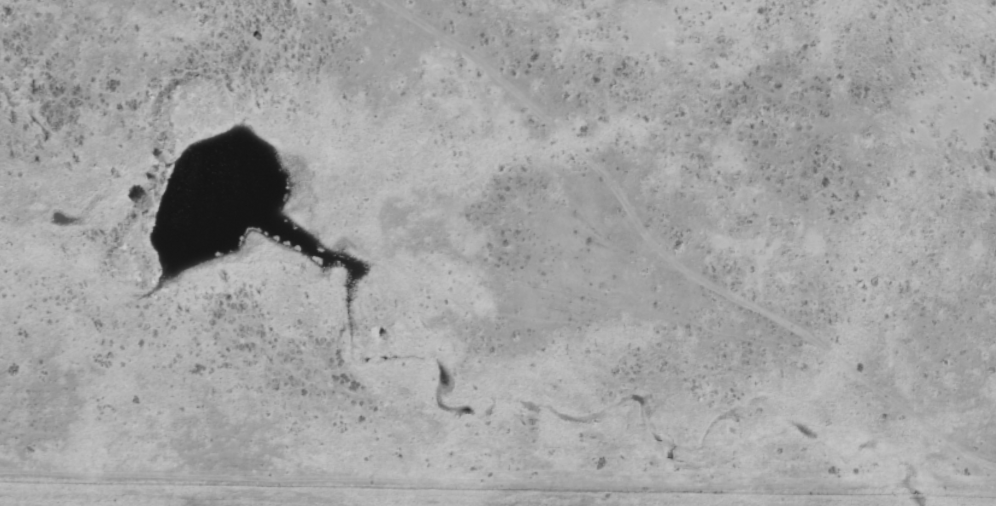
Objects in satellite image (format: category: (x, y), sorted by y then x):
road: (703, 119)

